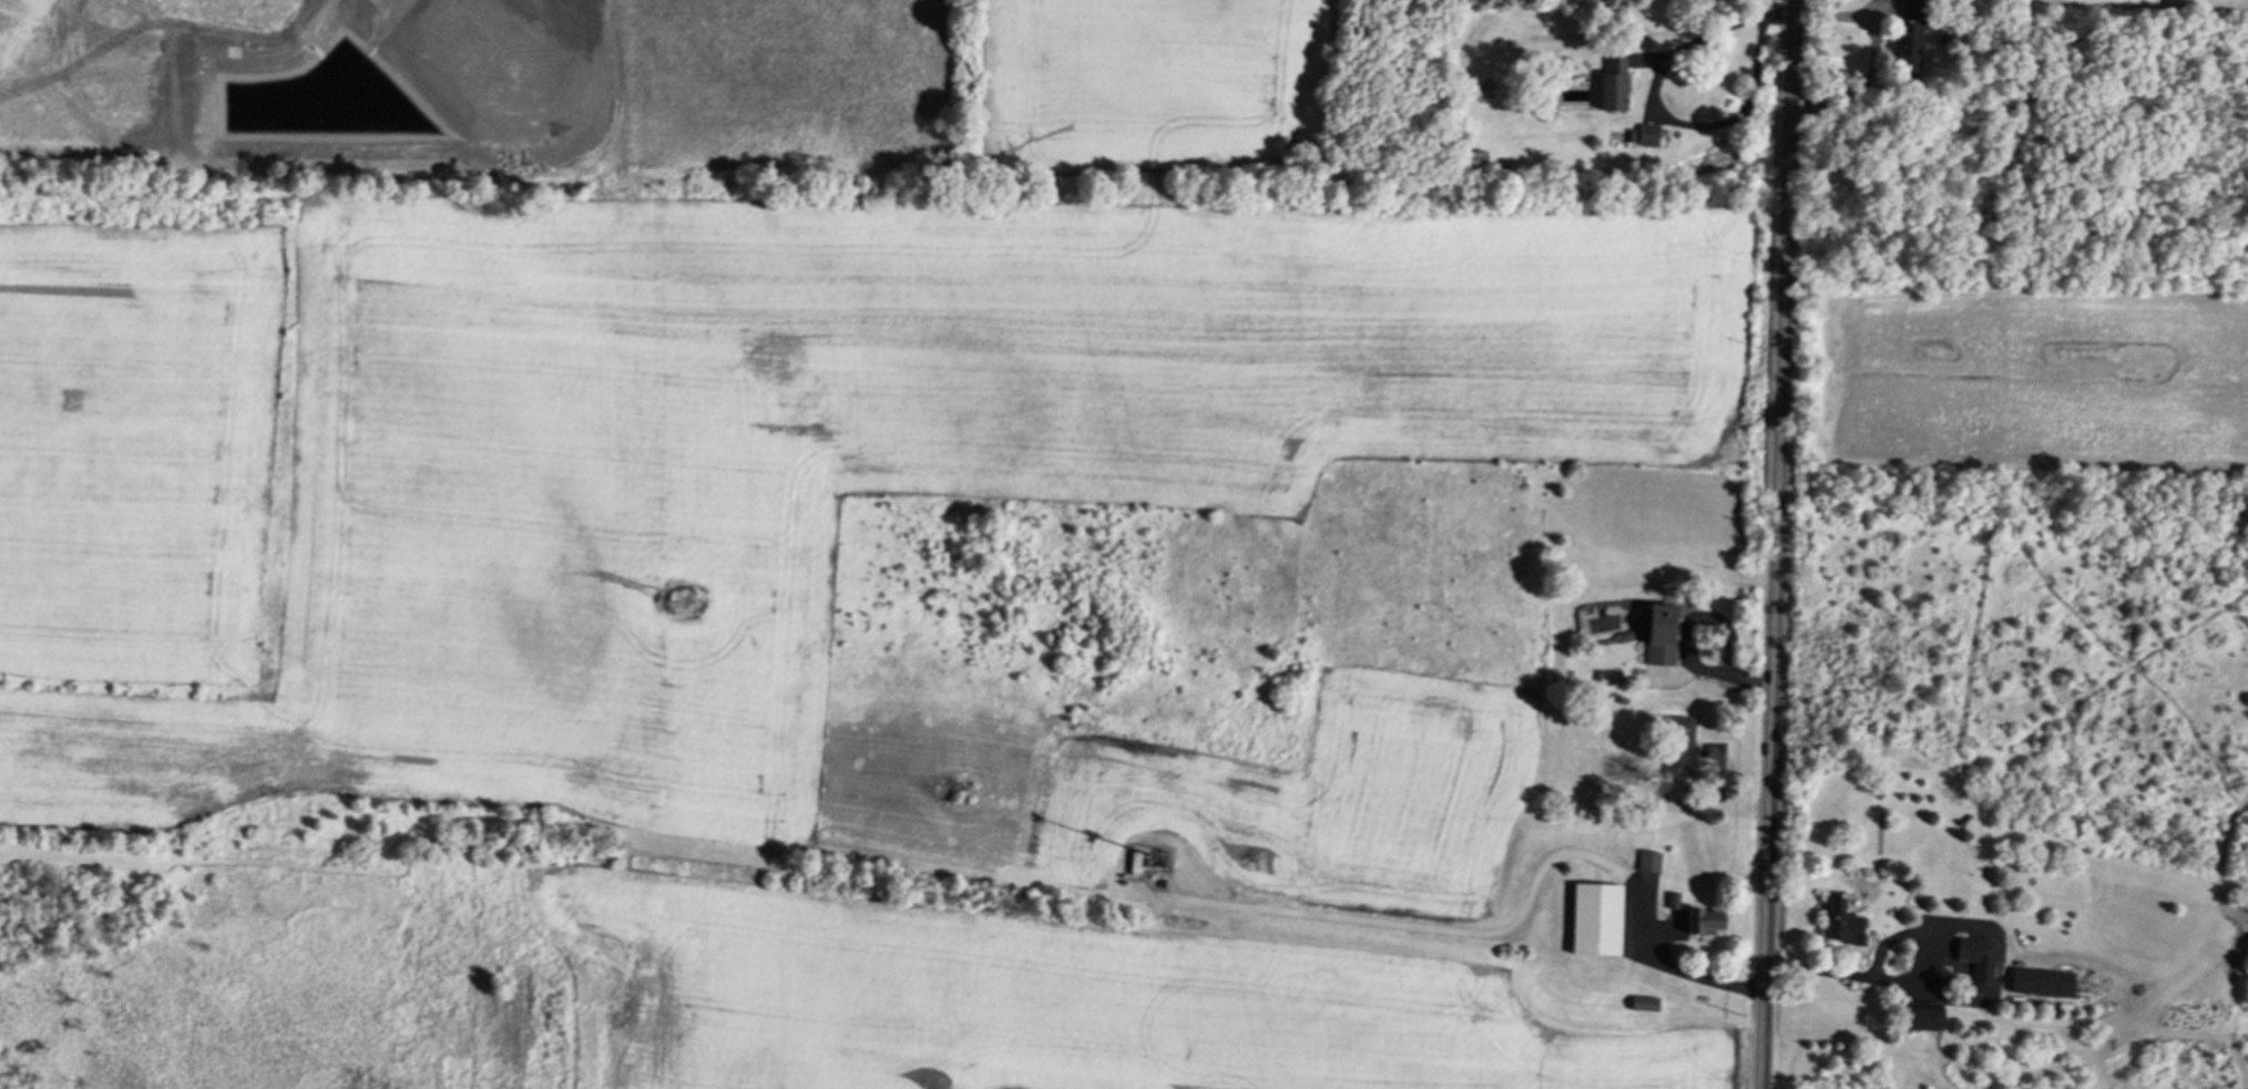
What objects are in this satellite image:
building: (1908, 38)
building: (1613, 81)
road: (1659, 112)
building: (1646, 134)
road: (1777, 544)
crop: (415, 602)
power tower: (681, 604)
building: (1658, 633)
building: (1606, 677)
building: (1678, 744)
building: (1647, 860)
building: (1594, 918)
building: (1703, 921)
building: (1841, 923)
building: (1980, 957)
road: (1669, 963)
road: (1896, 979)
building: (2040, 982)
building: (1643, 1003)
building: (1919, 1016)

